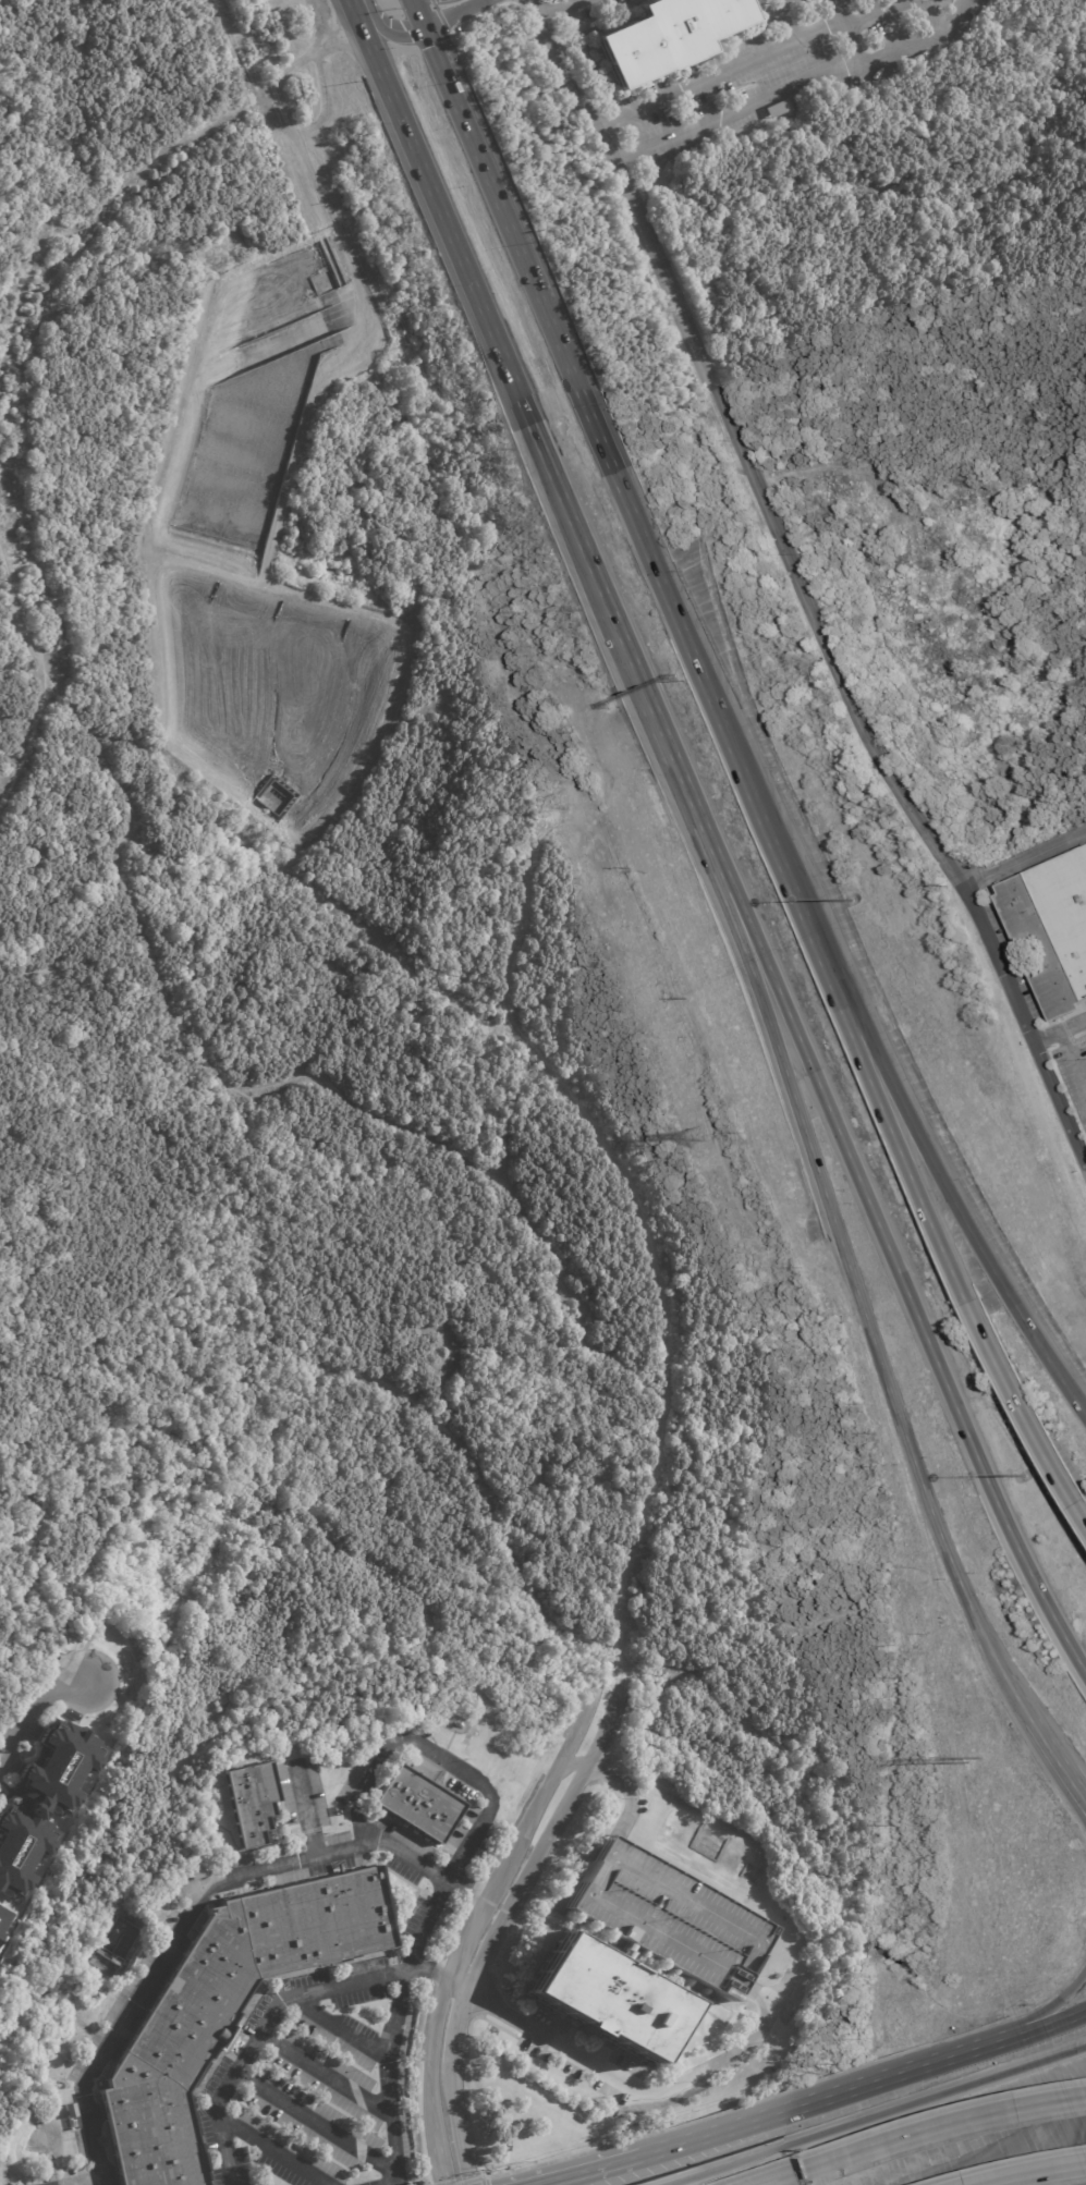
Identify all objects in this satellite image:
road: (868, 8)
road: (564, 12)
road: (456, 13)
road: (419, 14)
road: (876, 14)
road: (783, 21)
traffic signals: (426, 28)
road: (843, 29)
road: (382, 32)
building: (661, 35)
road: (322, 72)
road: (719, 74)
road: (797, 84)
building: (778, 109)
road: (187, 142)
road: (20, 146)
road: (505, 208)
road: (448, 229)
road: (25, 284)
road: (362, 319)
road: (194, 351)
park: (936, 389)
road: (595, 413)
road: (742, 445)
road: (578, 535)
road: (281, 587)
road: (687, 631)
road: (645, 698)
road: (160, 734)
road: (30, 742)
road: (377, 750)
road: (168, 758)
power tower: (547, 806)
road: (1025, 859)
road: (339, 908)
building: (1052, 929)
road: (158, 957)
road: (999, 964)
road: (1059, 1030)
road: (803, 1050)
road: (864, 1065)
road: (1070, 1065)
road: (561, 1084)
road: (1058, 1102)
road: (913, 1127)
power tower: (692, 1137)
road: (833, 1221)
road: (394, 1387)
road: (1023, 1411)
road: (528, 1482)
road: (996, 1499)
road: (1012, 1686)
road: (576, 1705)
road: (35, 1717)
road: (618, 1724)
power tower: (957, 1757)
road: (1059, 1762)
road: (571, 1763)
road: (605, 1772)
road: (627, 1791)
building: (249, 1801)
building: (44, 1803)
building: (418, 1804)
road: (308, 1811)
road: (512, 1826)
building: (196, 1872)
road: (535, 1876)
road: (449, 1879)
road: (204, 1890)
road: (475, 1891)
road: (474, 1919)
road: (500, 1924)
building: (4, 1926)
road: (453, 1930)
building: (115, 1938)
building: (646, 1948)
road: (438, 1972)
road: (466, 1987)
road: (760, 1992)
road: (485, 1999)
road: (1059, 2003)
building: (224, 2010)
road: (1059, 2022)
road: (425, 2023)
road: (339, 2025)
road: (326, 2074)
road: (855, 2089)
building: (70, 2111)
road: (870, 2117)
road: (318, 2122)
road: (927, 2137)
road: (607, 2145)
road: (272, 2151)
road: (618, 2166)
road: (1069, 2172)
road: (472, 2177)
road: (1042, 2177)
road: (483, 2180)
road: (457, 2181)
road: (91, 2182)
road: (449, 2183)

